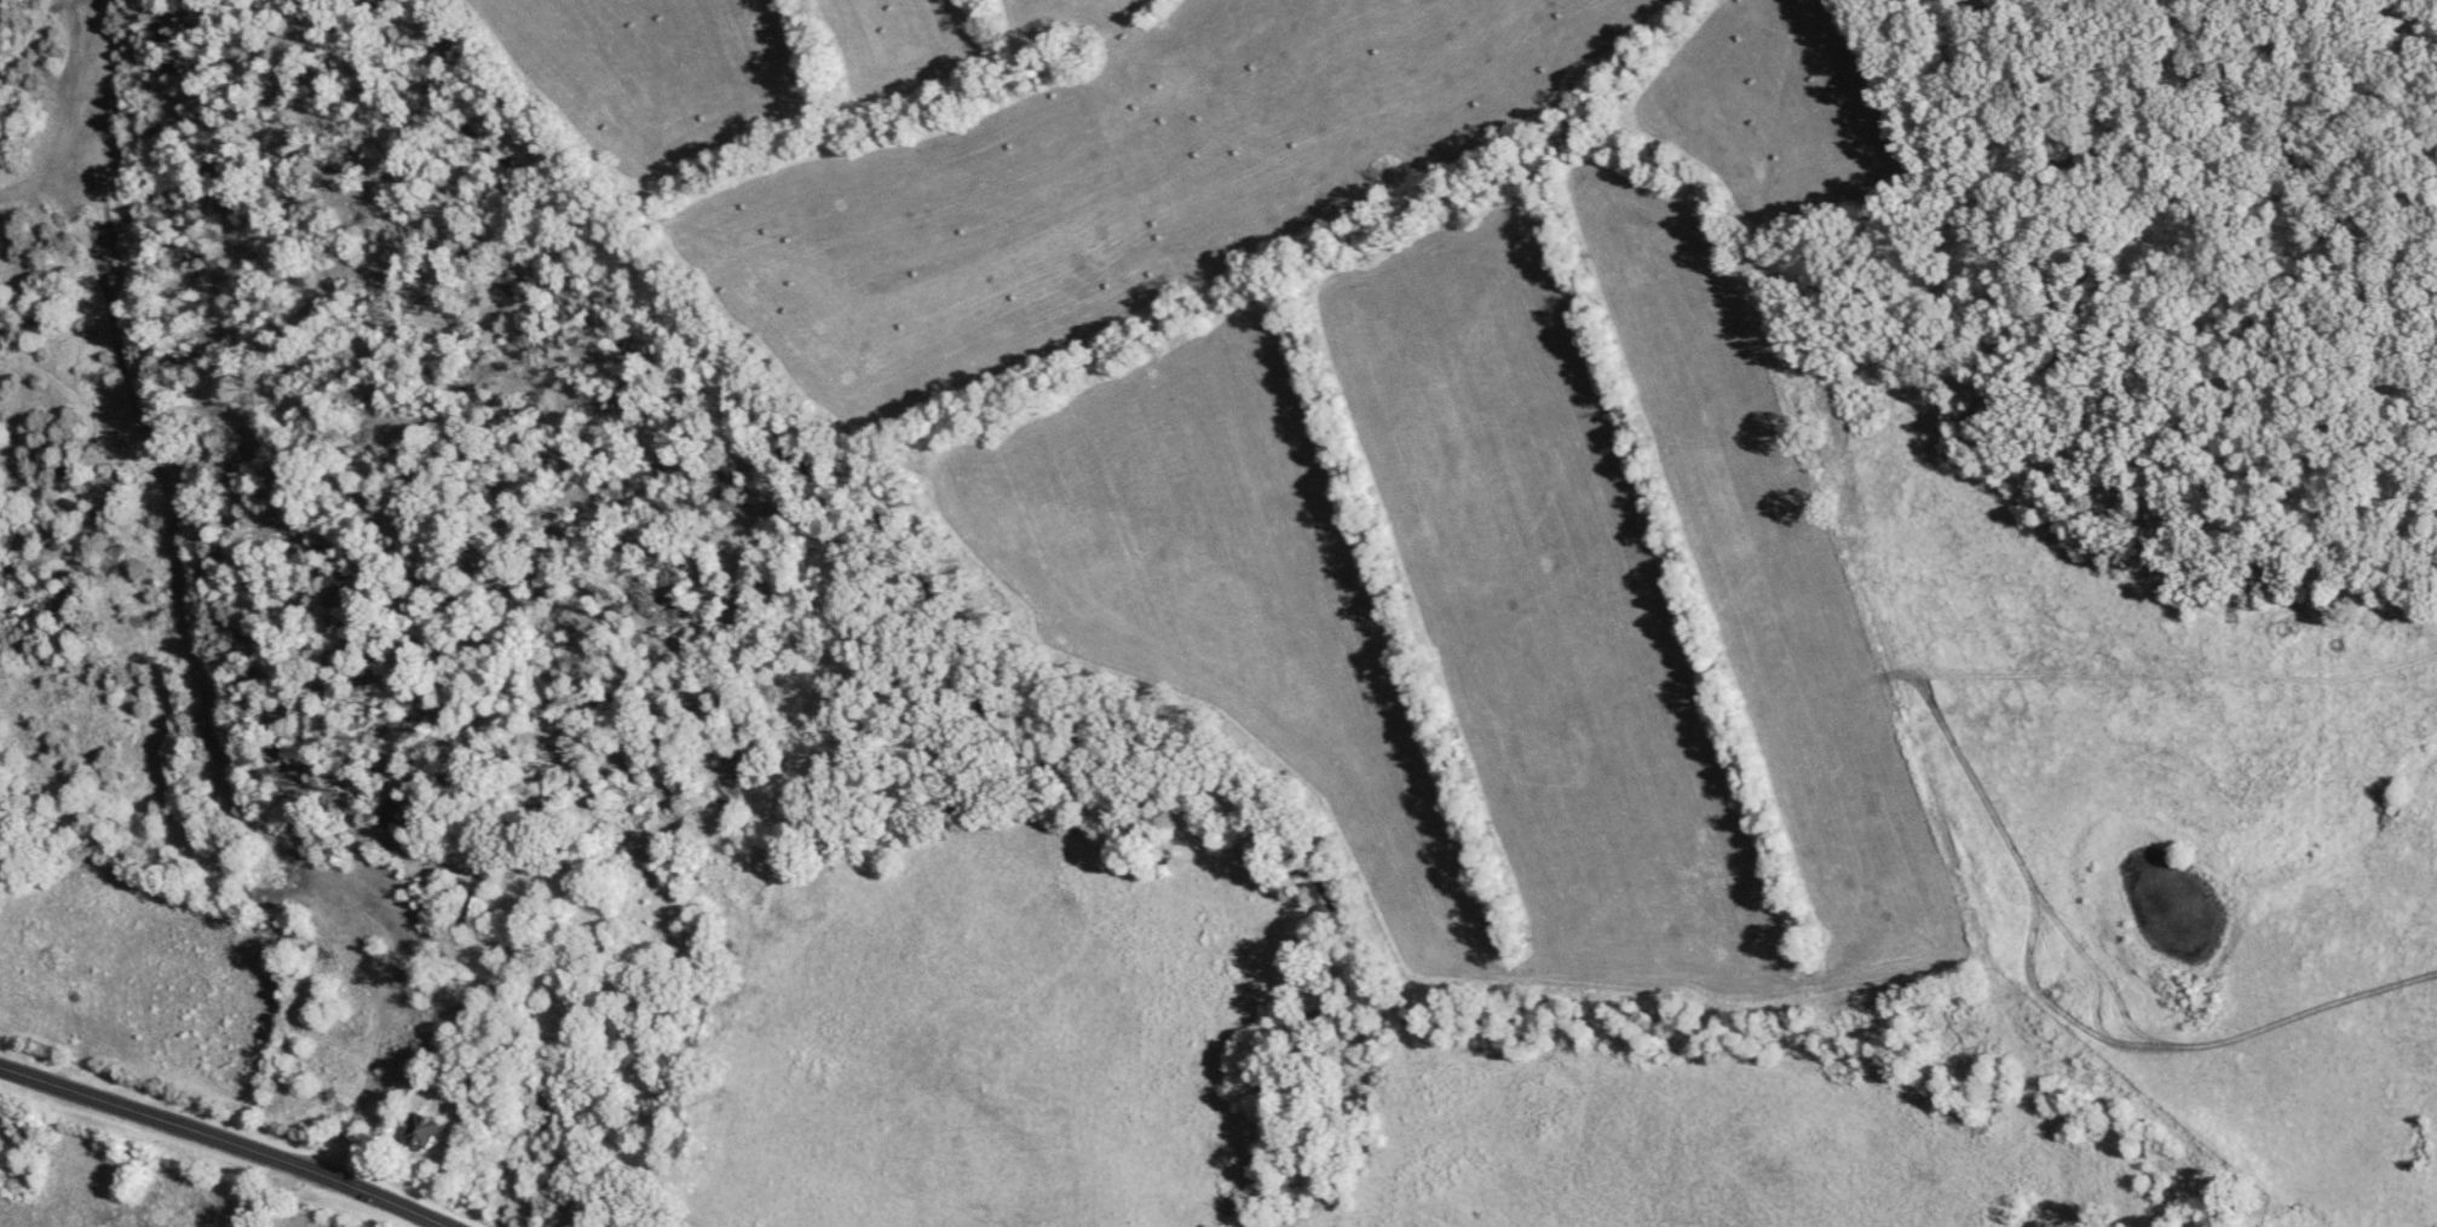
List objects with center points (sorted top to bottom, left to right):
building: (476, 912)
building: (543, 955)
building: (424, 1133)
road: (235, 1144)
road: (273, 1197)

